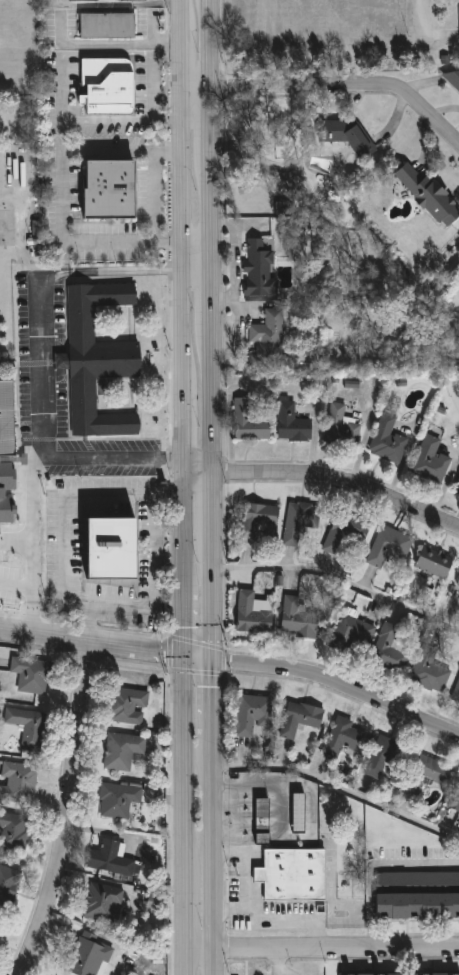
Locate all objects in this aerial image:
building: (79, 0)
building: (106, 22)
road: (214, 42)
building: (454, 80)
building: (107, 81)
road: (200, 84)
road: (61, 88)
road: (346, 88)
road: (215, 119)
building: (352, 136)
building: (109, 187)
building: (431, 196)
road: (63, 197)
road: (156, 197)
road: (215, 211)
building: (261, 268)
road: (215, 297)
building: (269, 339)
building: (96, 357)
road: (41, 364)
road: (215, 399)
building: (5, 417)
building: (251, 421)
building: (294, 422)
building: (342, 428)
building: (389, 438)
building: (431, 459)
road: (200, 473)
road: (341, 482)
road: (163, 486)
road: (186, 487)
building: (457, 487)
building: (2, 492)
road: (141, 499)
road: (215, 501)
building: (302, 519)
building: (260, 520)
building: (346, 530)
road: (34, 539)
road: (17, 544)
building: (390, 544)
building: (111, 546)
building: (436, 560)
road: (341, 578)
building: (458, 583)
road: (17, 585)
road: (215, 594)
building: (255, 611)
building: (300, 617)
building: (353, 629)
road: (108, 644)
building: (394, 646)
traffic signals: (186, 656)
traffic signals: (216, 660)
building: (431, 667)
building: (32, 674)
road: (341, 691)
building: (457, 694)
road: (216, 701)
building: (129, 705)
building: (254, 712)
building: (302, 717)
building: (28, 726)
building: (347, 736)
building: (123, 750)
building: (388, 758)
building: (434, 772)
building: (18, 782)
road: (340, 786)
building: (119, 799)
building: (456, 799)
road: (68, 811)
building: (300, 811)
building: (263, 818)
building: (14, 830)
building: (110, 857)
road: (217, 859)
road: (373, 867)
building: (293, 873)
road: (247, 880)
building: (8, 884)
building: (418, 893)
building: (155, 900)
building: (103, 901)
road: (296, 918)
building: (2, 927)
road: (323, 951)
building: (87, 955)
road: (280, 962)
building: (404, 973)

